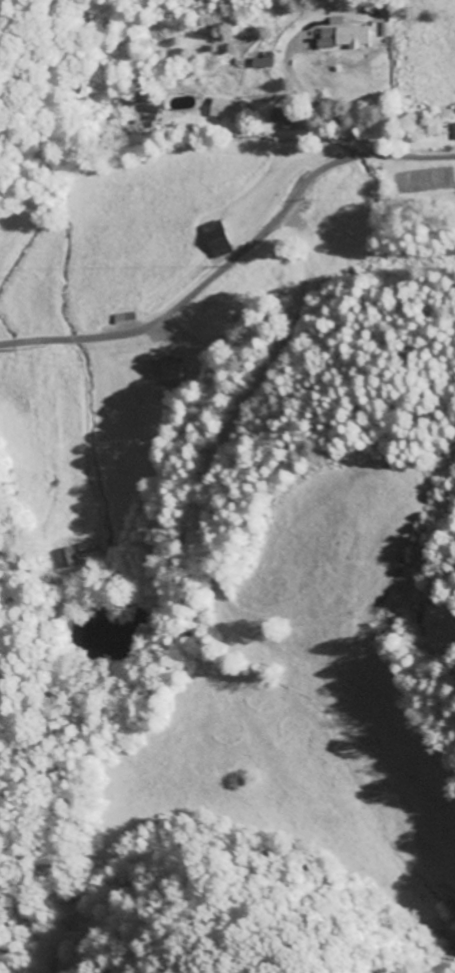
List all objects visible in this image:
building: (324, 33)
building: (351, 35)
building: (225, 109)
building: (453, 130)
building: (216, 242)
road: (233, 256)
building: (65, 557)

